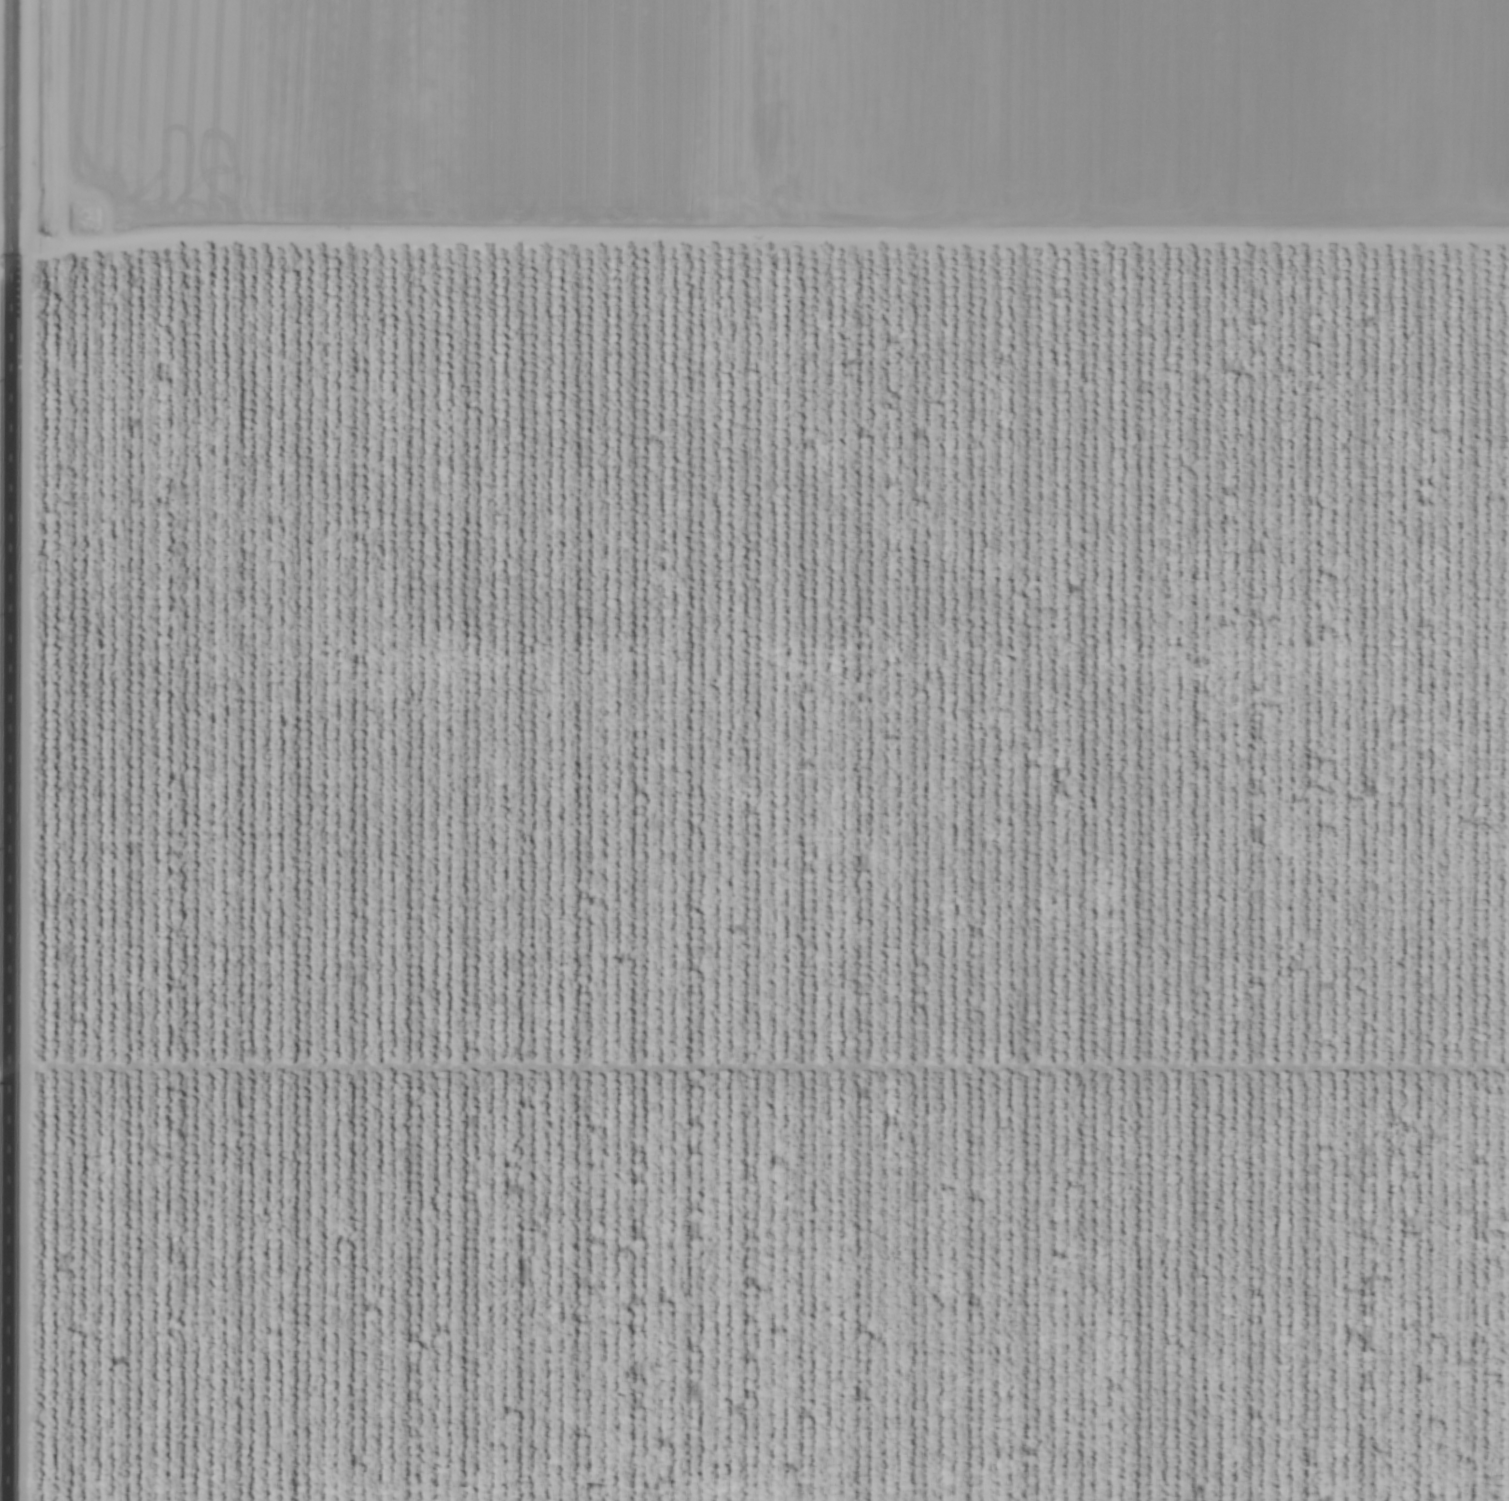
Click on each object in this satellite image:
road: (754, 236)
road: (10, 750)
crop: (767, 751)

